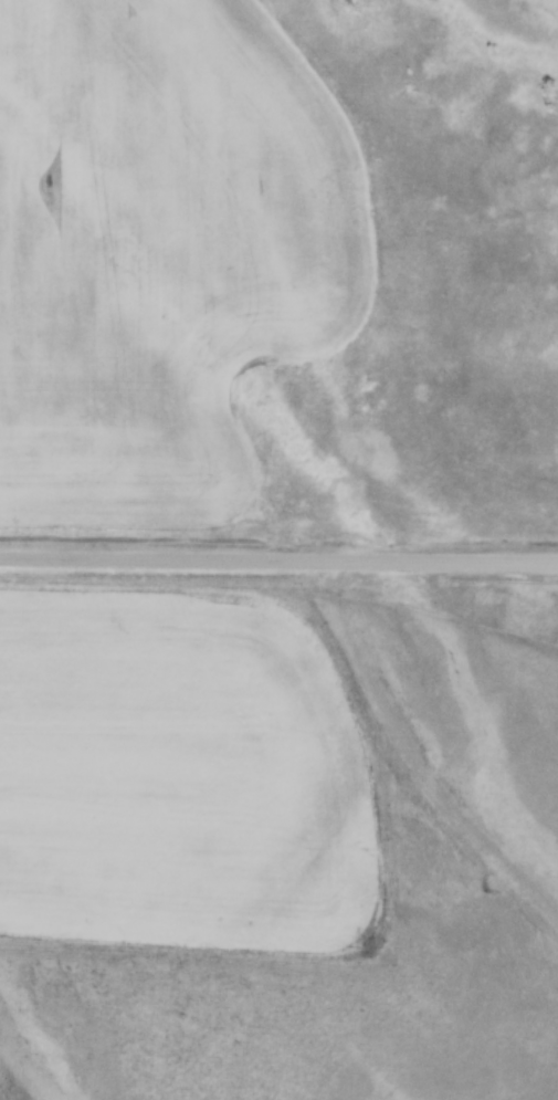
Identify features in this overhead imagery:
road: (278, 556)

